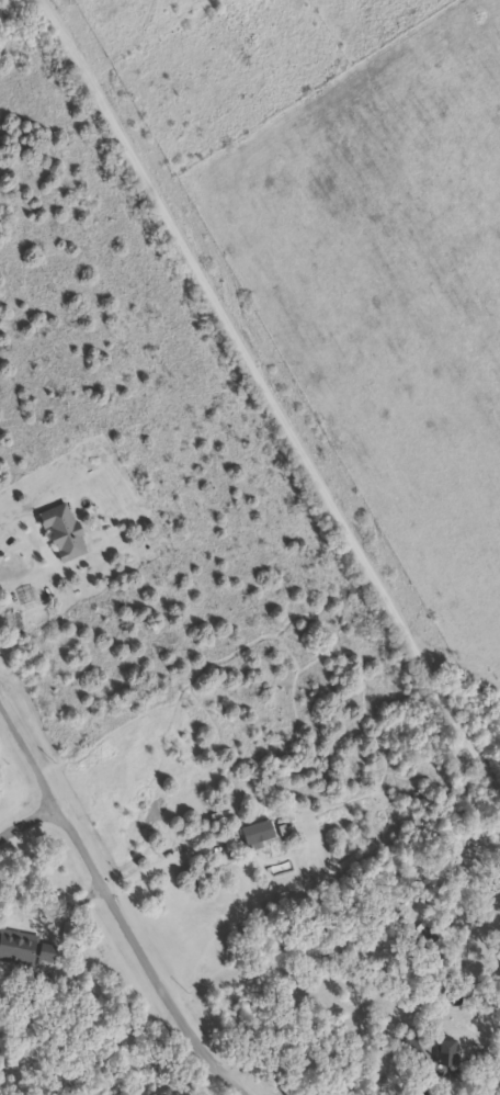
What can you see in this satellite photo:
road: (134, 46)
road: (274, 397)
building: (65, 531)
road: (27, 753)
road: (25, 820)
building: (260, 833)
building: (19, 948)
road: (139, 955)
building: (50, 956)
building: (412, 1048)
building: (448, 1051)

